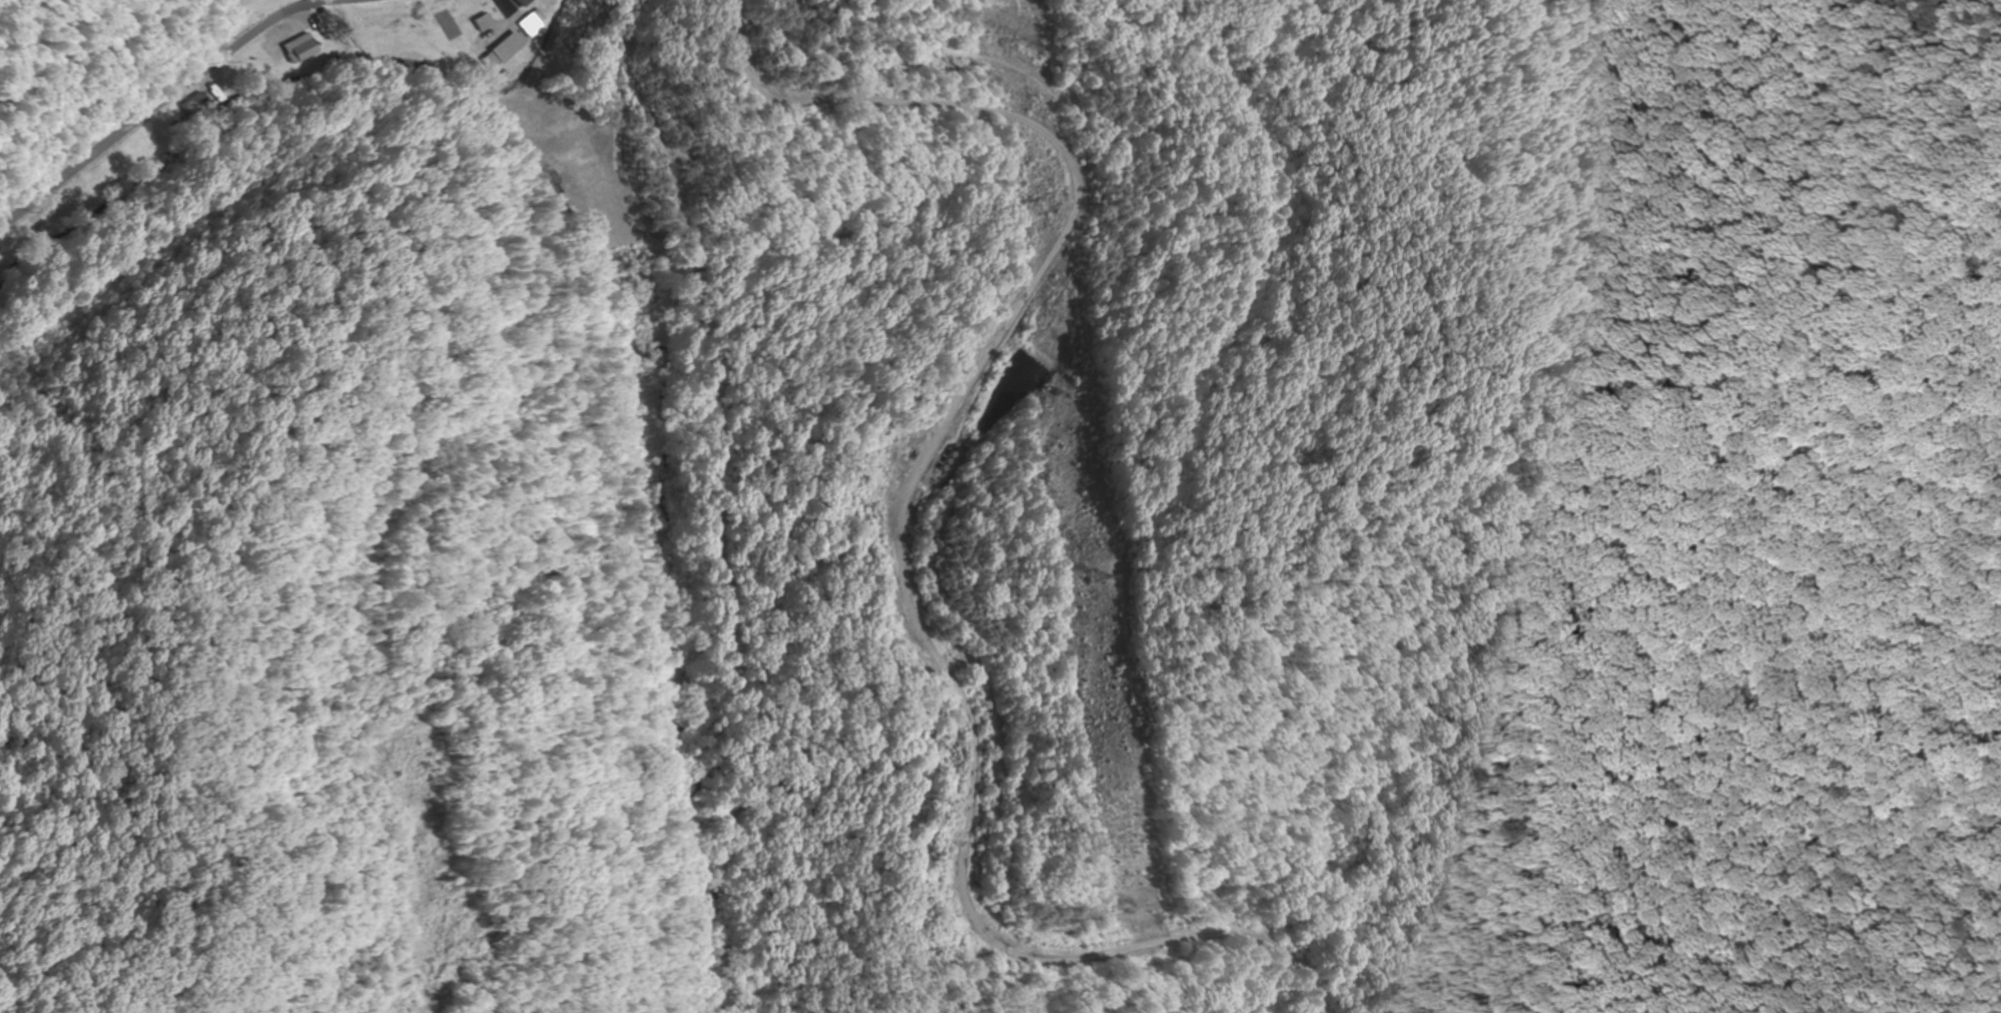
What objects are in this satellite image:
building: (521, 2)
building: (383, 21)
building: (484, 23)
building: (533, 23)
building: (508, 47)
building: (301, 49)
road: (159, 102)
building: (108, 188)

